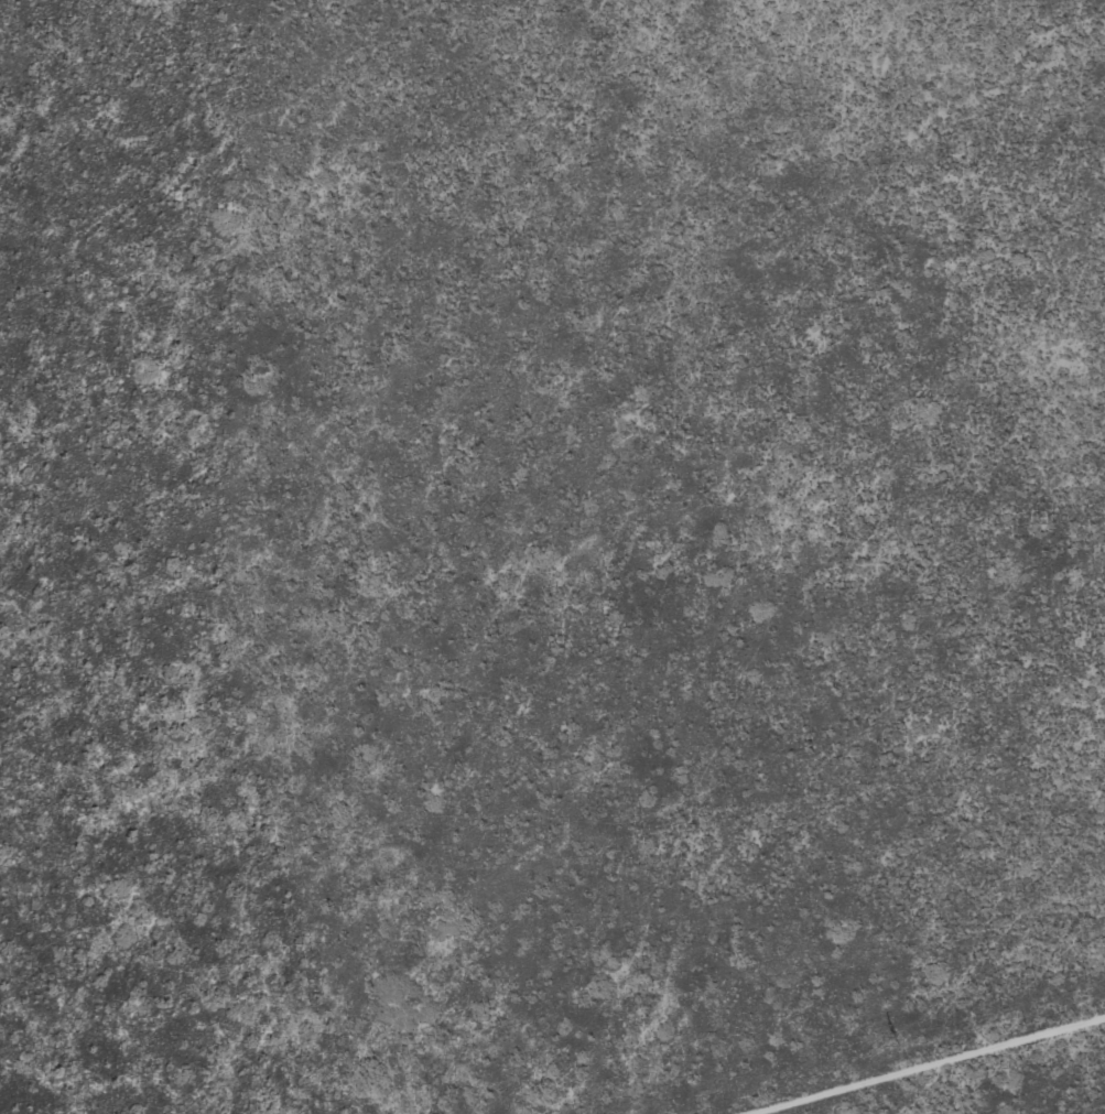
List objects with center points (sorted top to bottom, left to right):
power tower: (896, 1041)

